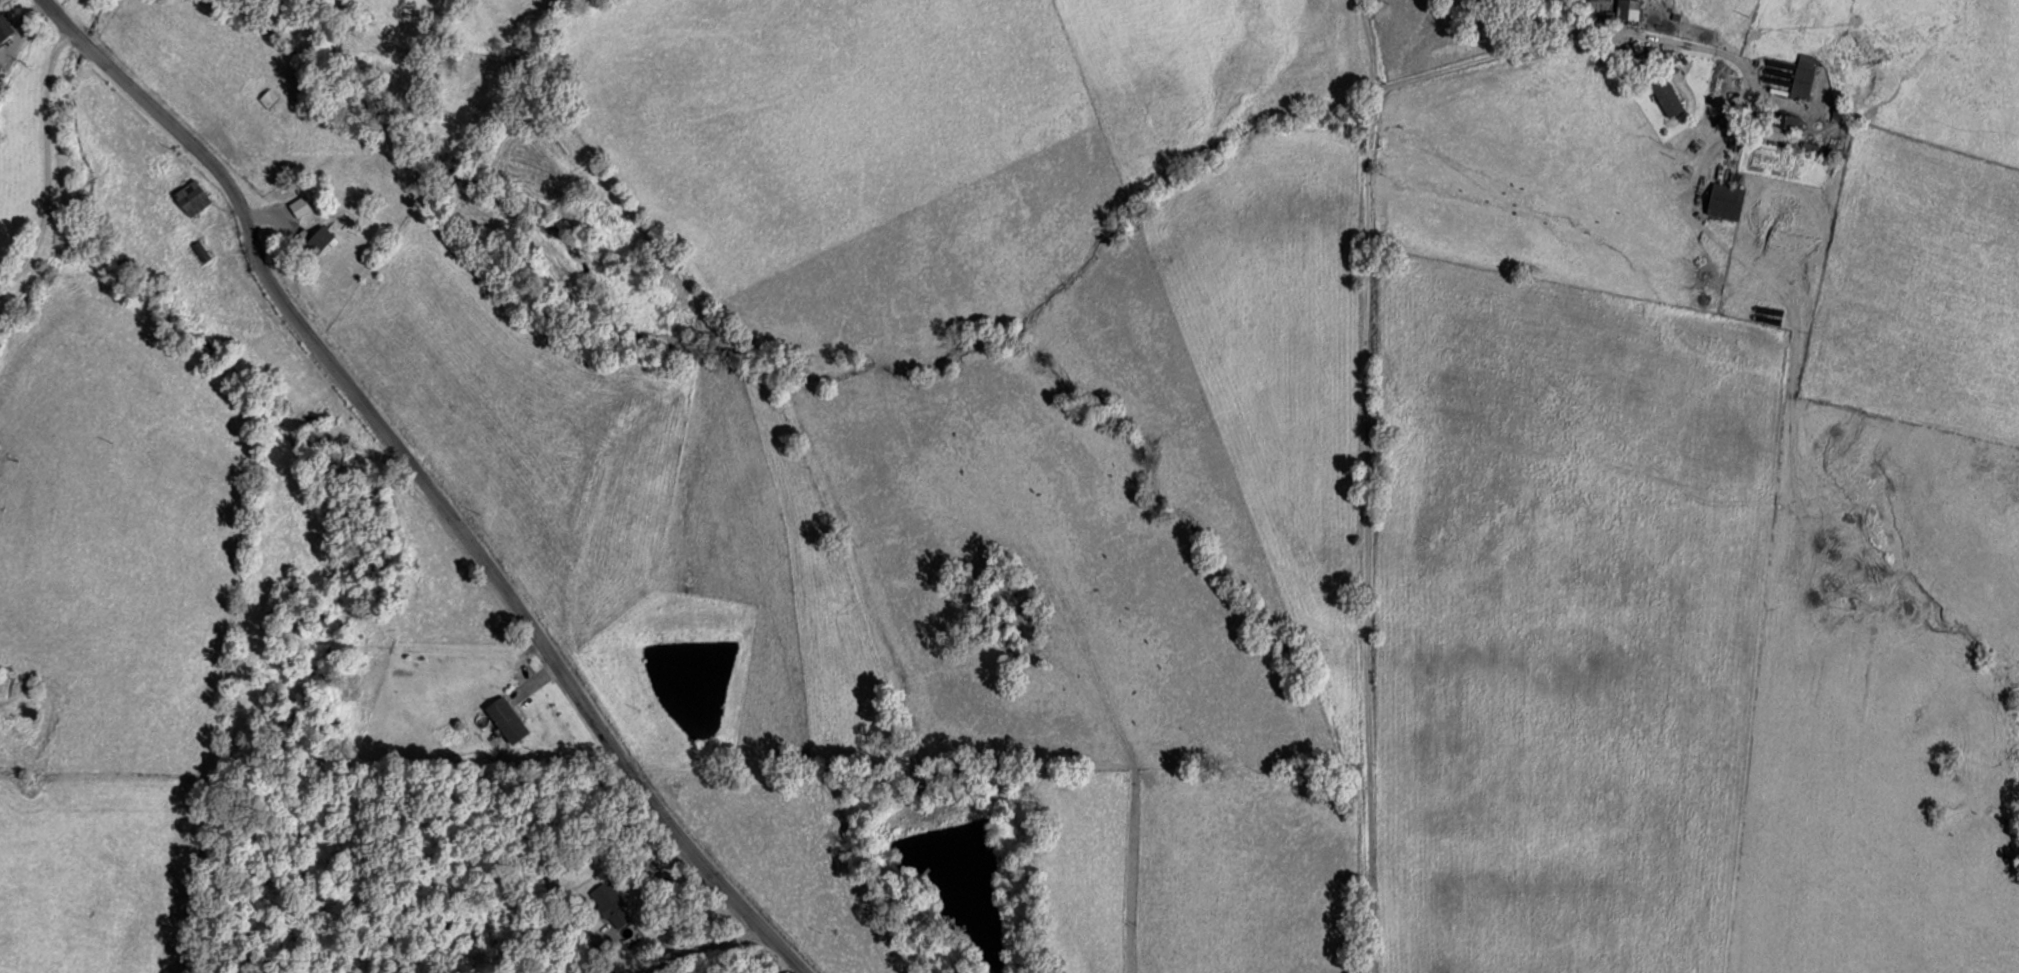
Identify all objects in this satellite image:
building: (1595, 0)
building: (1627, 9)
building: (4, 27)
building: (1802, 76)
building: (267, 97)
building: (1666, 97)
building: (1788, 121)
building: (190, 197)
building: (1723, 201)
building: (298, 206)
building: (318, 238)
road: (87, 296)
road: (1368, 371)
road: (402, 478)
building: (506, 719)
building: (610, 904)
road: (813, 963)
road: (785, 968)

